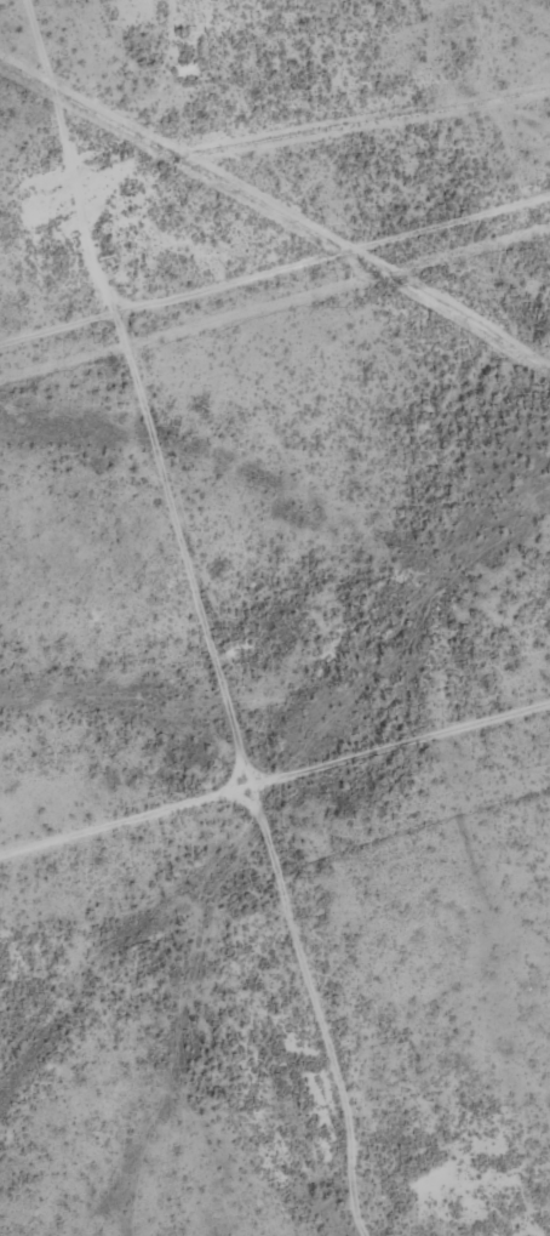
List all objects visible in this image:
road: (275, 775)

